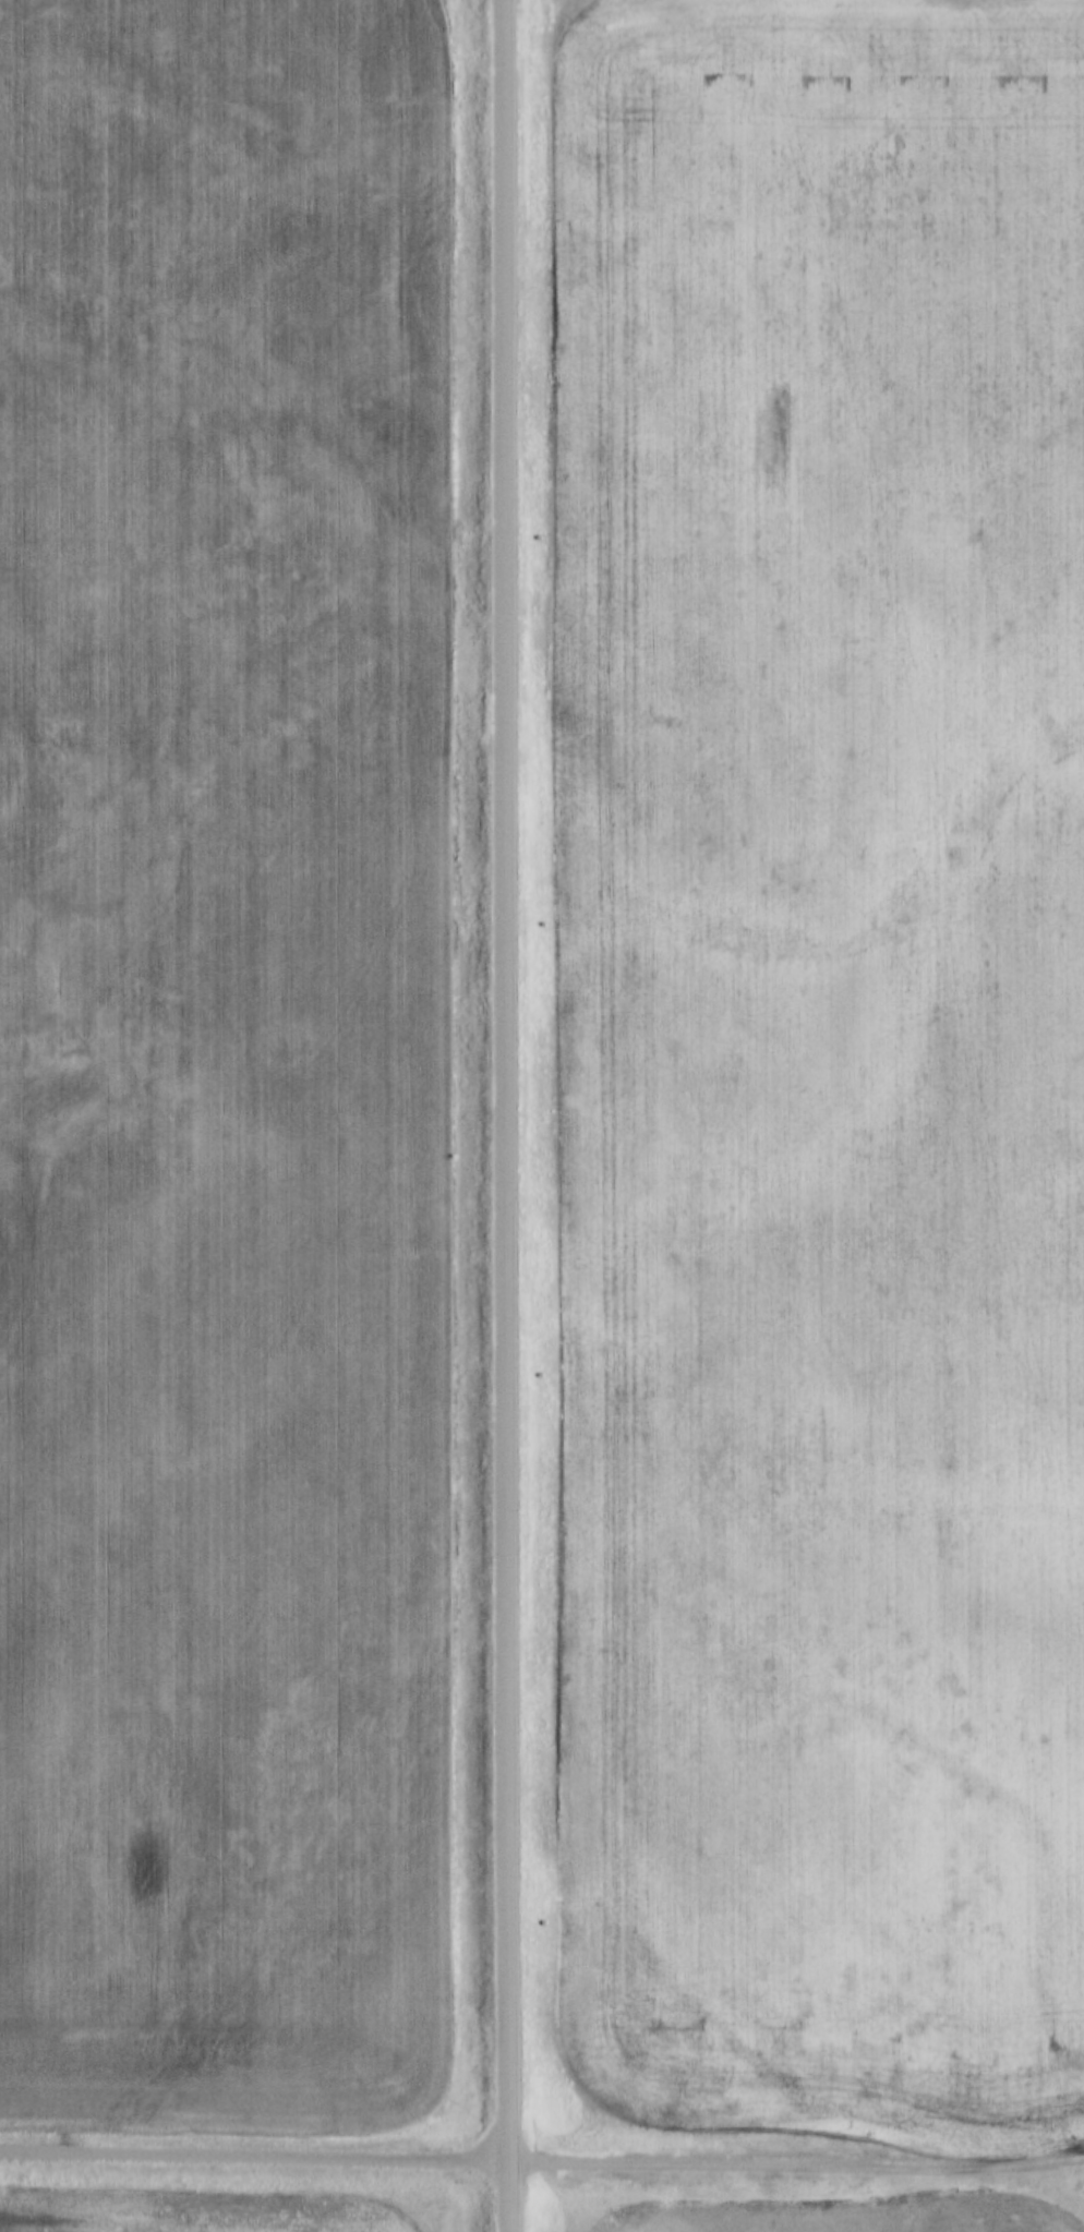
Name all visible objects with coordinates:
road: (506, 1081)
road: (541, 2161)
road: (510, 2197)

